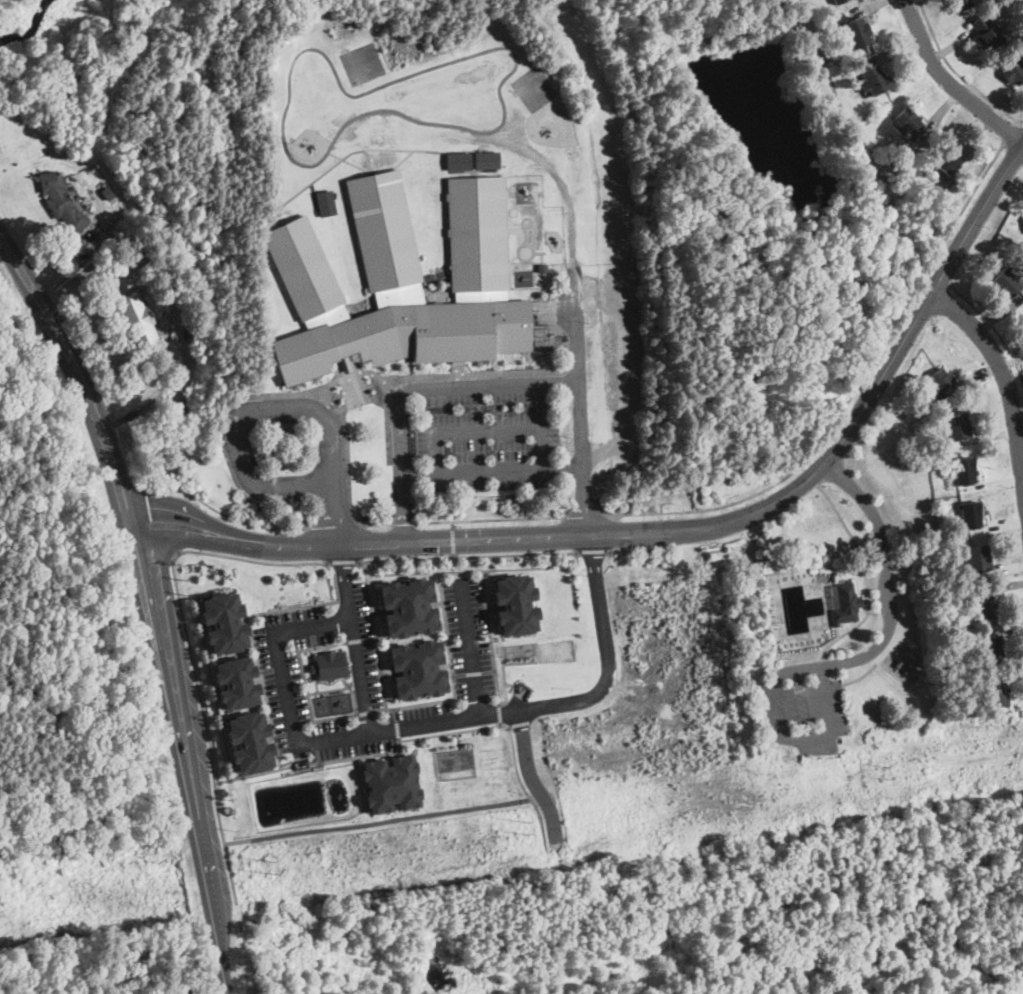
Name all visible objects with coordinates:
building: (838, 2)
building: (962, 3)
building: (987, 31)
building: (857, 33)
building: (1012, 69)
road: (958, 73)
building: (873, 81)
road: (947, 83)
building: (908, 123)
road: (1011, 133)
building: (486, 159)
building: (458, 160)
building: (946, 162)
building: (107, 193)
building: (60, 199)
building: (325, 202)
road: (61, 266)
road: (940, 277)
building: (1007, 282)
building: (401, 283)
road: (575, 293)
road: (176, 300)
building: (137, 320)
road: (993, 327)
road: (1004, 378)
building: (942, 383)
road: (415, 388)
road: (851, 396)
road: (269, 410)
building: (957, 424)
road: (344, 428)
road: (488, 430)
building: (965, 469)
road: (491, 473)
road: (221, 513)
building: (970, 514)
road: (583, 517)
road: (488, 520)
road: (402, 523)
road: (337, 528)
road: (672, 531)
road: (452, 539)
road: (641, 549)
road: (594, 552)
road: (465, 556)
building: (978, 557)
road: (343, 562)
road: (866, 577)
road: (890, 602)
road: (150, 603)
building: (515, 603)
building: (846, 603)
building: (407, 606)
building: (985, 606)
building: (222, 622)
road: (188, 634)
road: (356, 639)
road: (490, 641)
road: (472, 649)
building: (991, 649)
building: (328, 664)
building: (417, 668)
building: (235, 681)
building: (996, 692)
road: (404, 707)
road: (500, 714)
road: (428, 723)
road: (811, 736)
road: (417, 738)
building: (248, 741)
power tower: (884, 771)
road: (531, 777)
building: (390, 782)
road: (377, 820)
power tower: (525, 827)
power tower: (269, 867)

